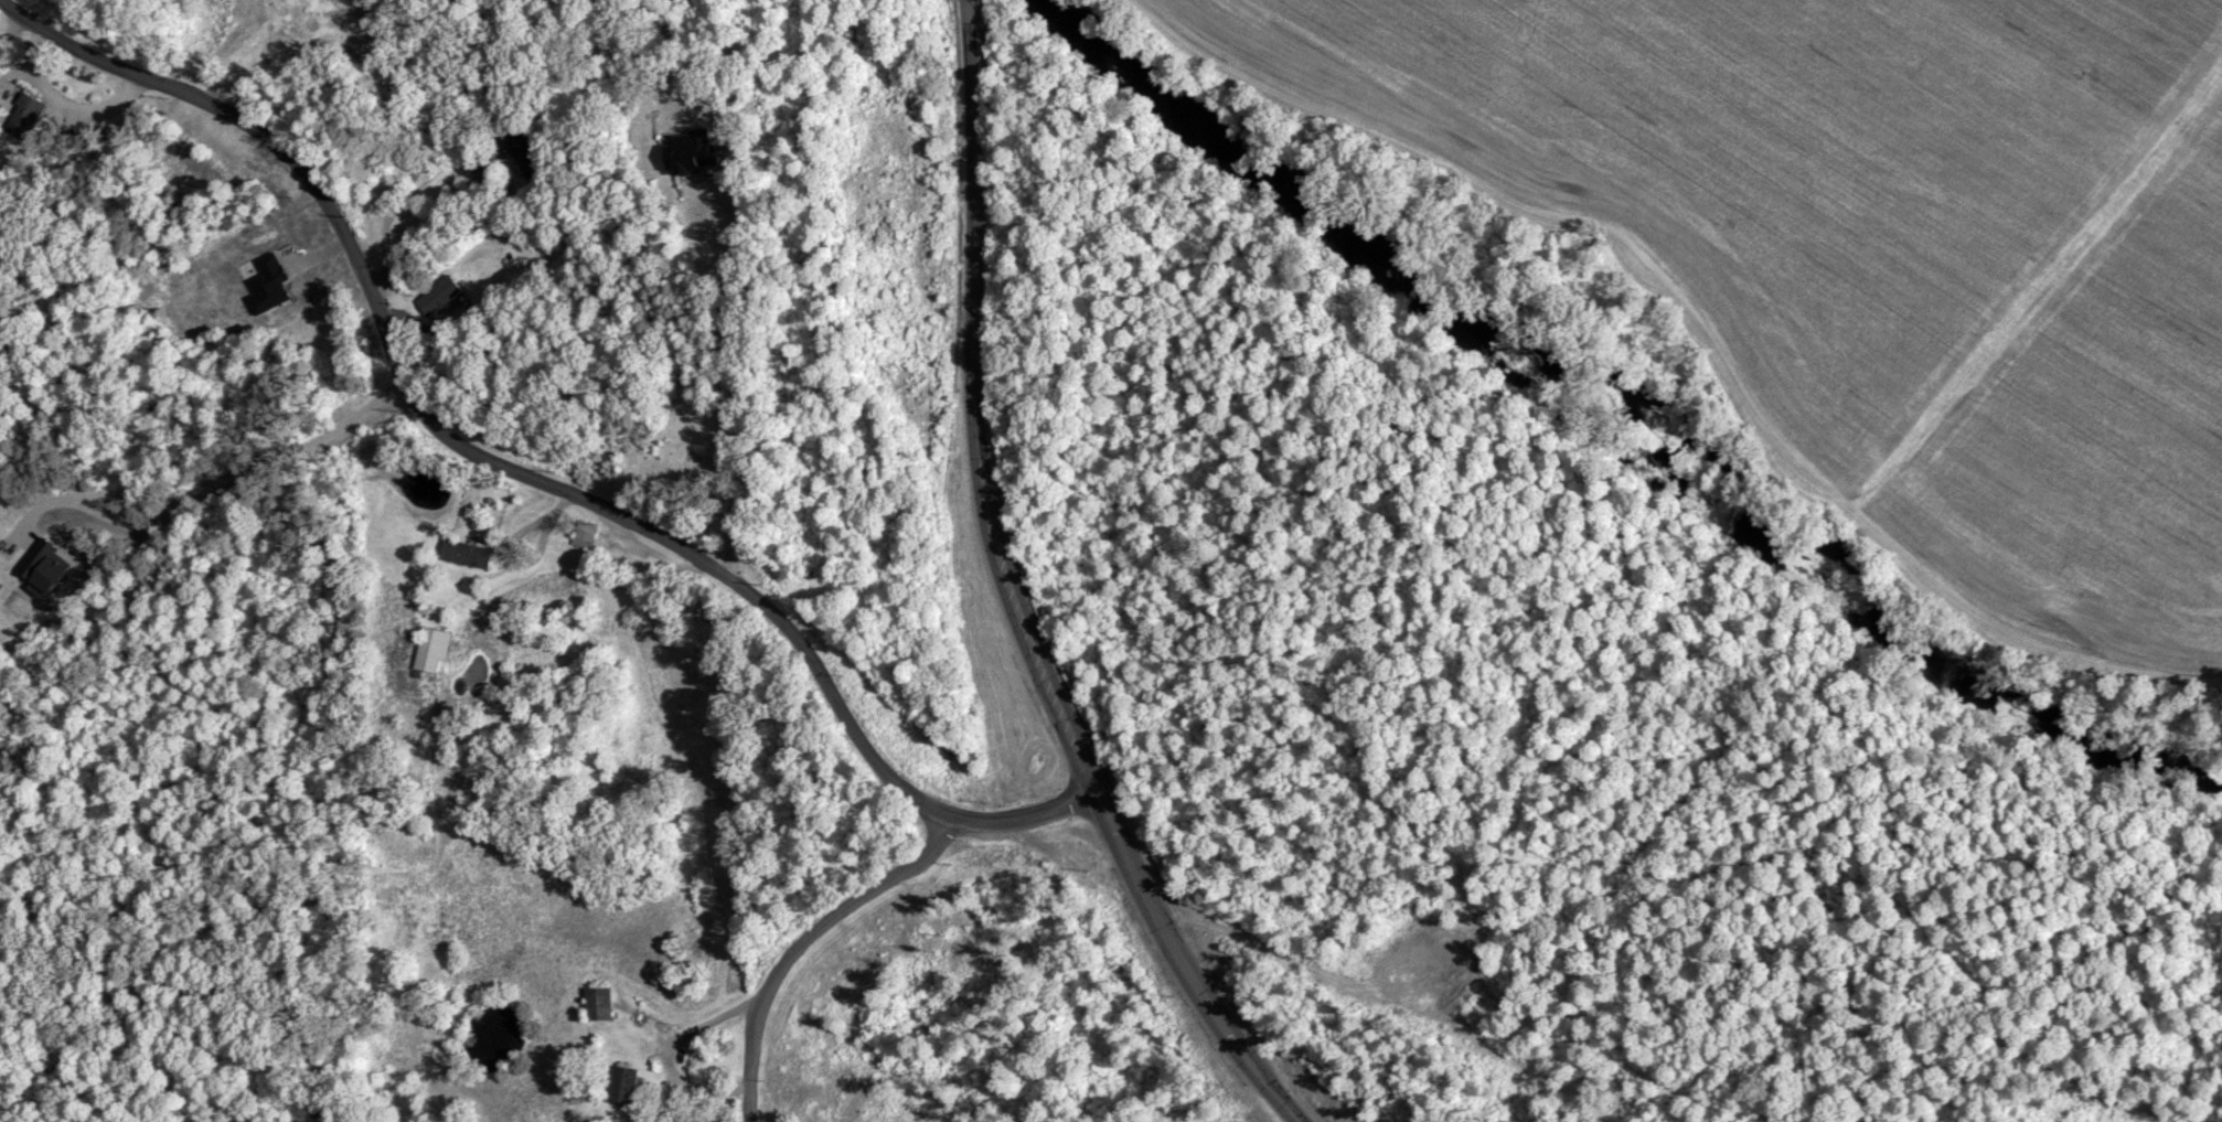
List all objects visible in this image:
building: (24, 110)
building: (524, 154)
road: (408, 199)
building: (437, 293)
road: (734, 384)
road: (975, 406)
river: (1622, 428)
road: (510, 469)
road: (222, 492)
building: (580, 534)
building: (463, 553)
building: (695, 605)
building: (429, 649)
road: (794, 940)
road: (1178, 966)
building: (596, 1003)
building: (619, 1086)

